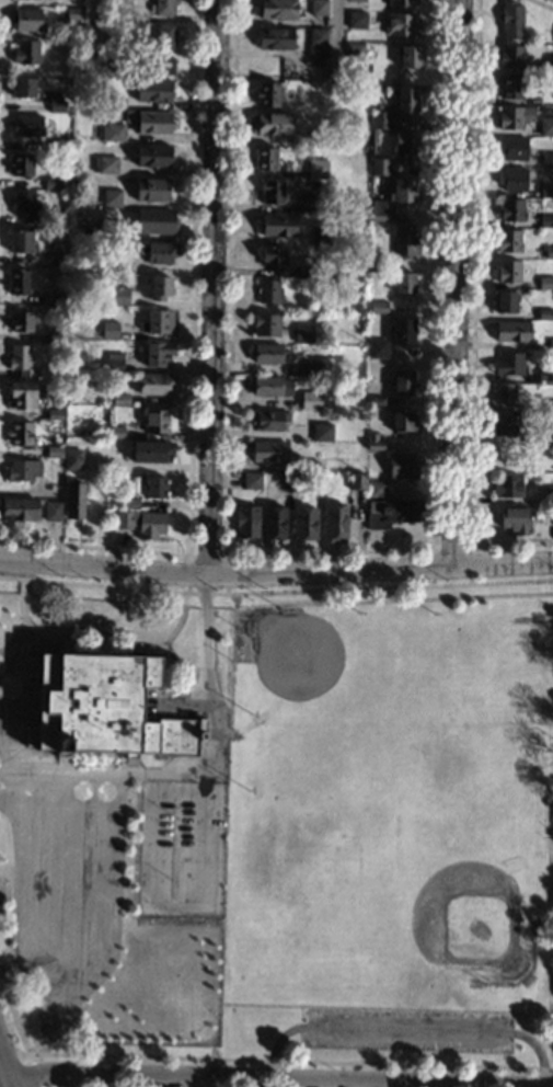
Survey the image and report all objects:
building: (358, 0)
building: (111, 1)
building: (401, 3)
building: (164, 7)
building: (319, 8)
building: (277, 9)
road: (91, 11)
building: (74, 15)
building: (28, 20)
building: (356, 20)
building: (510, 20)
building: (401, 25)
building: (110, 32)
road: (335, 35)
building: (164, 36)
building: (552, 36)
building: (275, 38)
building: (316, 43)
building: (355, 52)
building: (25, 53)
building: (510, 56)
building: (410, 57)
building: (118, 62)
building: (161, 66)
building: (545, 68)
building: (292, 70)
building: (361, 70)
building: (510, 87)
building: (23, 88)
building: (153, 91)
building: (267, 94)
building: (116, 103)
building: (405, 103)
building: (56, 104)
building: (514, 117)
building: (380, 119)
building: (152, 122)
building: (270, 123)
building: (27, 126)
building: (545, 126)
building: (115, 133)
building: (316, 138)
building: (59, 145)
building: (404, 147)
building: (511, 149)
building: (152, 156)
building: (265, 159)
building: (546, 160)
building: (21, 164)
building: (107, 164)
building: (379, 168)
building: (316, 169)
building: (510, 179)
building: (51, 184)
building: (151, 190)
building: (402, 191)
building: (273, 192)
building: (546, 192)
building: (111, 198)
building: (308, 202)
building: (82, 203)
building: (25, 206)
building: (510, 210)
building: (60, 213)
building: (379, 215)
building: (155, 221)
building: (545, 221)
building: (278, 226)
building: (105, 230)
building: (321, 237)
building: (404, 240)
building: (508, 241)
building: (22, 242)
building: (157, 252)
building: (548, 252)
building: (273, 258)
building: (56, 259)
building: (346, 263)
building: (105, 264)
building: (508, 272)
building: (302, 273)
building: (20, 282)
road: (440, 283)
building: (545, 283)
building: (403, 284)
building: (159, 287)
road: (205, 287)
building: (269, 291)
building: (118, 296)
building: (56, 299)
building: (505, 301)
building: (378, 307)
building: (545, 314)
building: (21, 322)
building: (157, 322)
building: (265, 324)
building: (108, 330)
building: (403, 331)
building: (512, 332)
building: (303, 334)
building: (55, 336)
building: (550, 344)
building: (377, 348)
building: (265, 353)
building: (157, 354)
building: (21, 361)
building: (114, 363)
building: (509, 364)
building: (315, 368)
building: (544, 377)
building: (402, 381)
building: (154, 385)
building: (269, 386)
building: (504, 393)
building: (22, 396)
building: (119, 400)
building: (311, 401)
building: (376, 401)
building: (549, 405)
building: (55, 414)
building: (268, 420)
building: (401, 421)
building: (155, 422)
building: (507, 425)
building: (115, 432)
building: (93, 433)
building: (322, 433)
building: (20, 434)
building: (548, 435)
building: (373, 443)
building: (149, 451)
building: (54, 453)
building: (269, 453)
building: (72, 460)
building: (308, 466)
building: (401, 467)
building: (21, 470)
building: (287, 480)
building: (251, 481)
building: (356, 481)
building: (316, 482)
building: (508, 487)
building: (153, 488)
building: (375, 489)
building: (53, 493)
building: (549, 495)
building: (74, 501)
building: (129, 503)
building: (19, 508)
building: (53, 512)
building: (389, 513)
building: (515, 519)
building: (247, 522)
building: (141, 523)
building: (273, 524)
building: (334, 524)
building: (304, 525)
road: (276, 572)
road: (97, 632)
park: (304, 668)
park: (503, 678)
building: (104, 708)
road: (207, 764)
park: (471, 774)
park: (390, 828)
park: (336, 833)
road: (35, 843)
parking lot: (181, 848)
road: (174, 908)
park: (469, 917)
park: (48, 989)
park: (183, 1006)
park: (104, 1026)
parking lot: (407, 1030)
road: (237, 1079)
road: (1, 1084)

